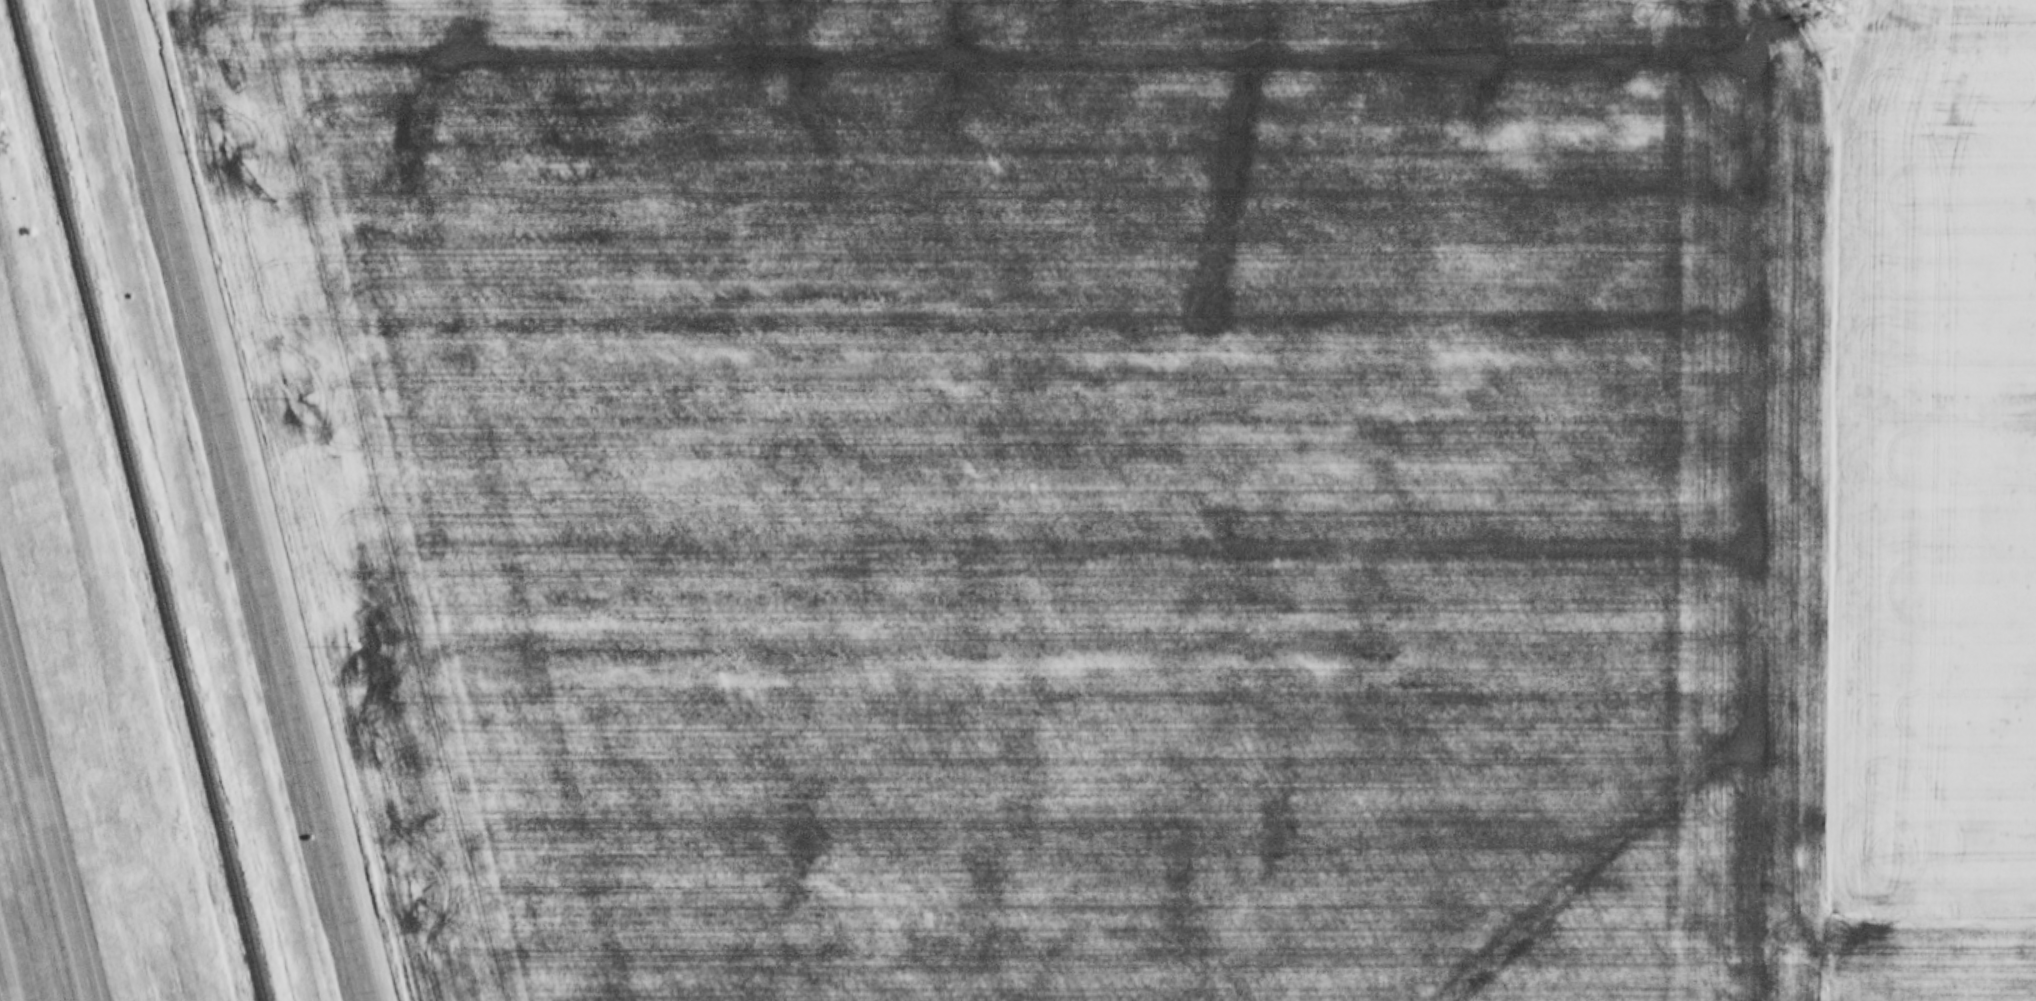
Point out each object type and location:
crop: (1934, 461)
crop: (1070, 492)
railway: (138, 500)
road: (246, 500)
road: (47, 812)
road: (5, 980)

